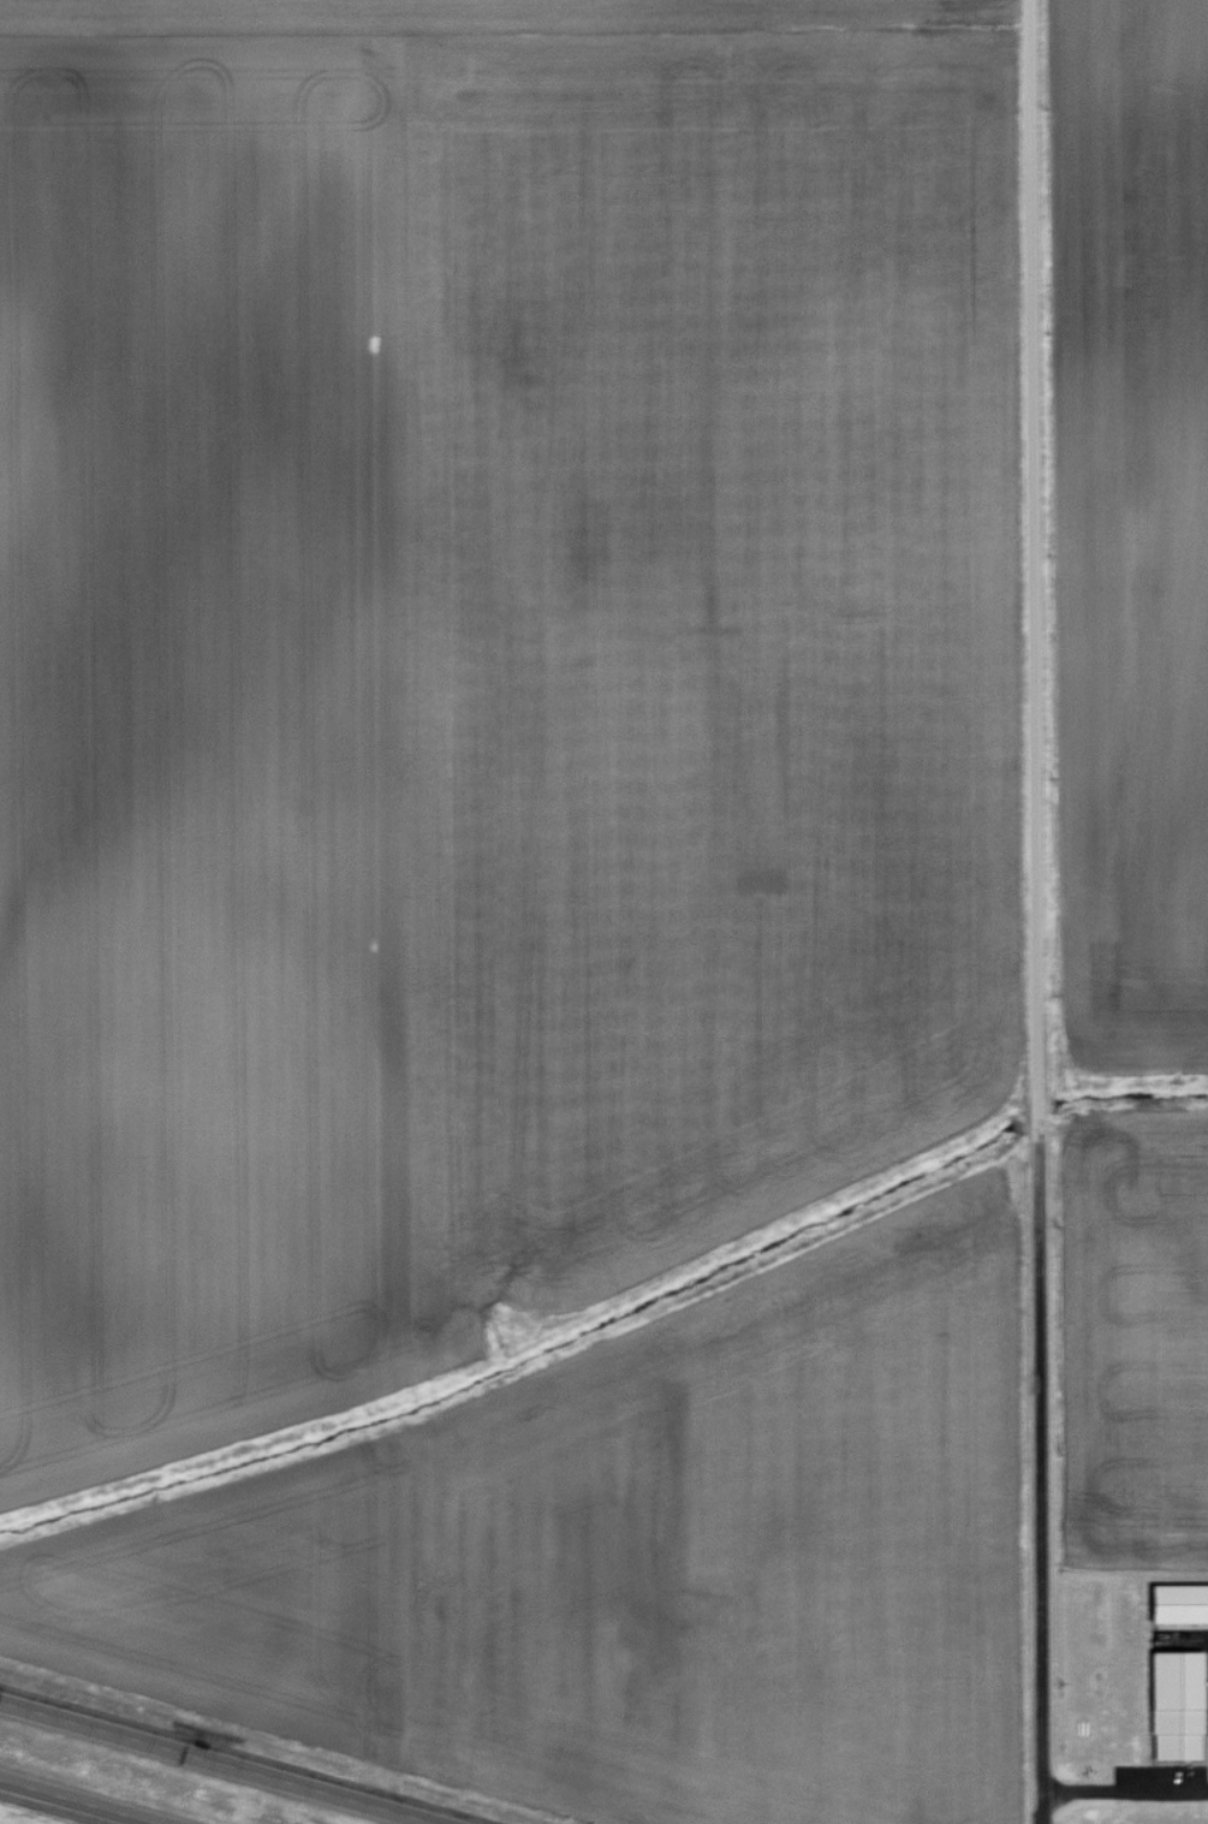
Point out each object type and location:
road: (1042, 911)
building: (1178, 1605)
building: (1176, 1707)
road: (220, 1761)
road: (1126, 1794)
road: (64, 1804)

